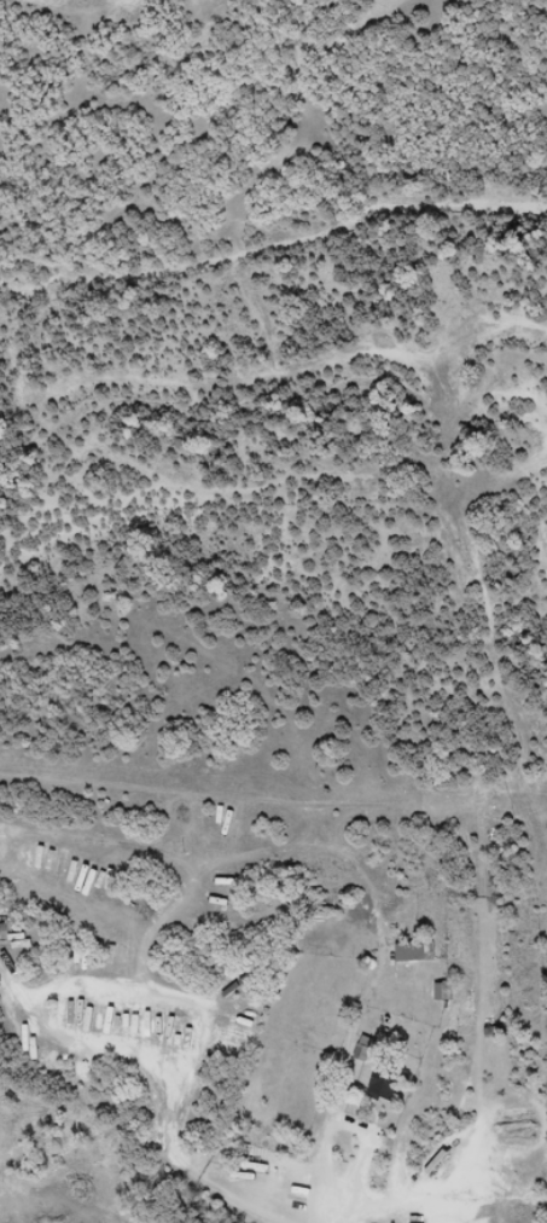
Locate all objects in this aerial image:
building: (411, 951)
building: (384, 1082)

